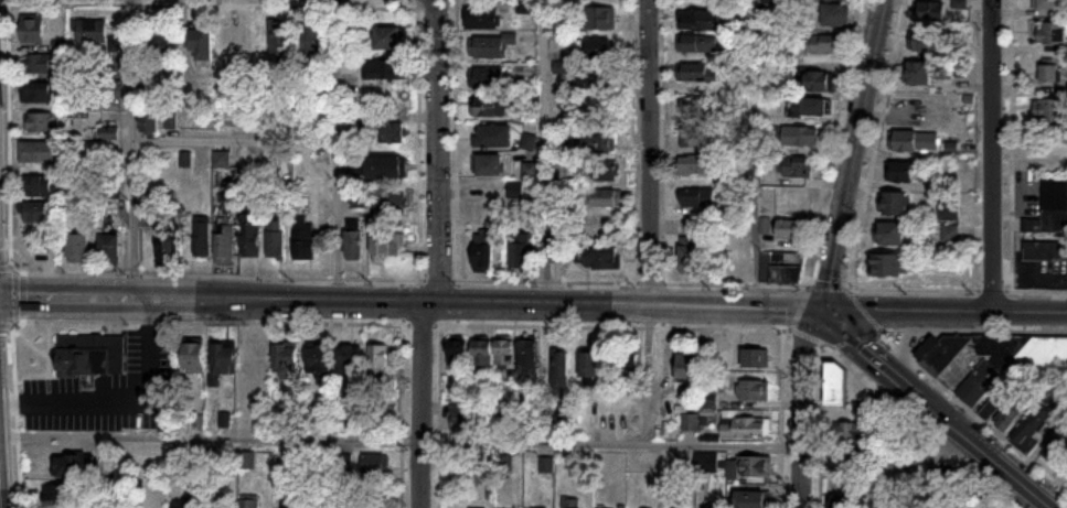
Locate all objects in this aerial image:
building: (1049, 4)
building: (527, 6)
building: (773, 6)
building: (931, 12)
building: (835, 14)
building: (482, 18)
building: (598, 19)
building: (31, 29)
building: (90, 31)
building: (698, 31)
building: (1052, 34)
building: (232, 37)
building: (281, 39)
building: (390, 39)
building: (313, 41)
building: (925, 42)
building: (161, 45)
building: (201, 45)
building: (825, 45)
building: (490, 46)
building: (598, 48)
building: (38, 64)
building: (563, 67)
building: (384, 72)
building: (697, 73)
building: (919, 74)
building: (1048, 75)
building: (599, 78)
building: (487, 79)
building: (817, 82)
building: (110, 89)
building: (36, 93)
building: (697, 106)
building: (486, 107)
building: (808, 108)
building: (1049, 112)
building: (41, 123)
building: (148, 123)
building: (394, 134)
building: (492, 137)
building: (800, 137)
building: (694, 138)
road: (303, 140)
building: (530, 142)
building: (914, 142)
road: (131, 149)
road: (543, 149)
road: (437, 150)
road: (650, 151)
building: (40, 153)
road: (755, 154)
road: (856, 154)
road: (993, 155)
building: (221, 160)
building: (489, 165)
building: (695, 165)
building: (385, 167)
building: (796, 167)
building: (531, 170)
building: (605, 172)
building: (904, 173)
building: (38, 186)
building: (515, 190)
building: (606, 199)
building: (696, 202)
building: (390, 204)
building: (894, 204)
building: (1050, 209)
building: (35, 212)
road: (338, 219)
building: (764, 228)
building: (788, 229)
building: (893, 235)
building: (250, 236)
building: (302, 238)
building: (201, 239)
building: (275, 239)
building: (224, 242)
building: (353, 246)
building: (387, 246)
building: (77, 248)
building: (109, 249)
building: (482, 250)
building: (1045, 251)
building: (521, 252)
building: (166, 253)
building: (690, 259)
building: (600, 260)
building: (892, 266)
building: (781, 268)
road: (413, 299)
traffic signals: (825, 310)
road: (946, 311)
building: (504, 354)
building: (457, 355)
building: (90, 356)
building: (192, 357)
building: (482, 357)
building: (527, 358)
building: (755, 358)
building: (222, 359)
building: (317, 359)
building: (377, 359)
building: (284, 360)
building: (348, 360)
building: (1047, 361)
building: (686, 363)
building: (253, 365)
building: (590, 365)
building: (628, 369)
building: (989, 372)
building: (559, 375)
building: (835, 383)
road: (904, 385)
building: (753, 390)
road: (419, 403)
road: (801, 406)
building: (1006, 406)
building: (868, 408)
building: (460, 417)
building: (690, 422)
building: (743, 428)
building: (1032, 430)
building: (849, 431)
road: (488, 442)
building: (1056, 448)
building: (152, 461)
building: (906, 465)
building: (74, 466)
building: (750, 467)
road: (399, 476)
road: (1018, 482)
building: (945, 483)
road: (437, 484)
road: (19, 486)
road: (778, 491)
building: (55, 494)
building: (149, 498)
road: (818, 498)
building: (753, 499)
building: (842, 500)
building: (185, 504)
building: (248, 504)
building: (570, 504)
building: (288, 506)
building: (679, 506)
road: (0, 507)
building: (876, 507)

